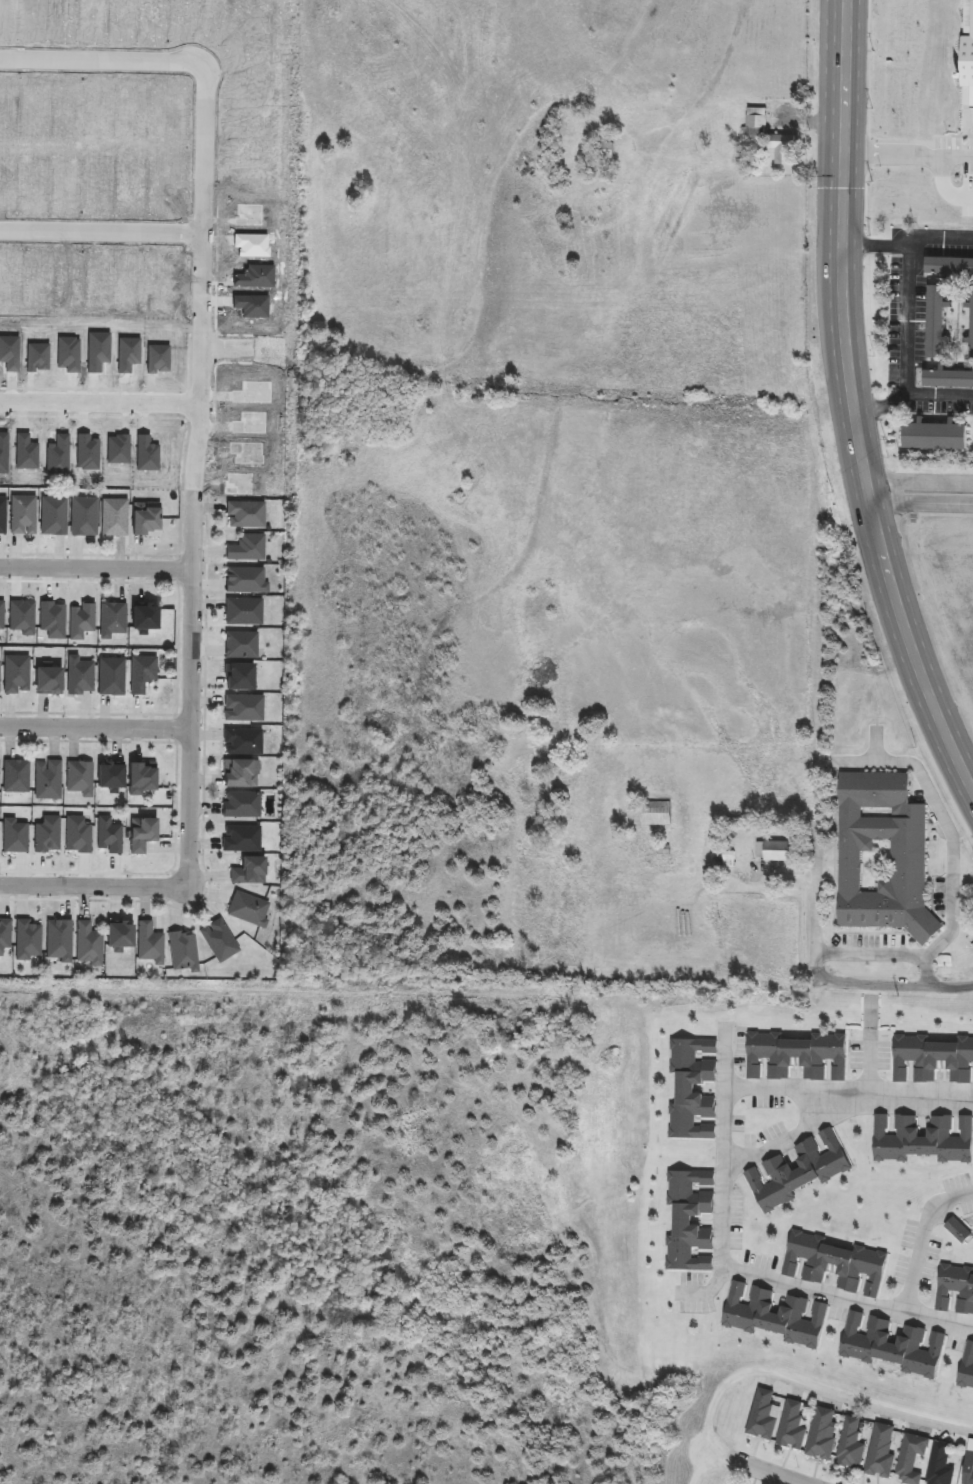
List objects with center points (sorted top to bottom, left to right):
building: (966, 53)
road: (100, 61)
road: (866, 110)
building: (756, 123)
building: (782, 148)
building: (948, 148)
road: (909, 150)
building: (607, 151)
building: (7, 178)
building: (35, 181)
building: (99, 182)
parking lot: (968, 182)
building: (163, 183)
road: (944, 184)
building: (68, 185)
road: (193, 185)
building: (132, 186)
building: (249, 214)
road: (95, 217)
road: (104, 233)
road: (192, 234)
road: (94, 245)
building: (251, 245)
road: (908, 245)
building: (949, 267)
road: (219, 268)
building: (71, 277)
building: (255, 277)
building: (10, 279)
building: (131, 280)
building: (38, 281)
building: (161, 282)
road: (205, 282)
building: (100, 284)
building: (251, 305)
road: (191, 319)
road: (909, 320)
building: (935, 322)
building: (971, 325)
road: (237, 335)
road: (225, 347)
road: (217, 348)
building: (96, 352)
building: (10, 354)
building: (127, 355)
building: (67, 356)
building: (37, 358)
building: (156, 358)
road: (236, 362)
building: (948, 378)
road: (94, 389)
building: (252, 393)
road: (912, 395)
road: (99, 401)
road: (855, 402)
road: (190, 405)
road: (94, 415)
building: (250, 423)
building: (934, 436)
building: (117, 451)
building: (25, 452)
building: (86, 452)
building: (245, 452)
building: (3, 453)
building: (57, 455)
building: (146, 455)
building: (238, 484)
road: (182, 485)
road: (922, 494)
building: (23, 514)
building: (246, 514)
building: (3, 515)
building: (54, 516)
building: (83, 516)
building: (115, 516)
building: (146, 522)
building: (247, 547)
road: (88, 554)
road: (97, 568)
road: (176, 569)
building: (245, 580)
building: (243, 610)
building: (1, 616)
building: (22, 618)
building: (114, 618)
building: (83, 619)
building: (52, 620)
building: (146, 621)
building: (241, 645)
road: (176, 647)
building: (16, 674)
building: (143, 674)
building: (80, 676)
building: (112, 677)
building: (240, 679)
building: (50, 683)
road: (192, 694)
building: (244, 708)
road: (95, 727)
road: (173, 728)
road: (204, 734)
building: (243, 741)
building: (108, 776)
building: (239, 776)
building: (17, 777)
building: (80, 778)
building: (139, 778)
building: (49, 781)
building: (242, 804)
road: (174, 805)
building: (657, 814)
building: (47, 835)
building: (140, 835)
building: (76, 836)
building: (111, 836)
building: (13, 837)
building: (242, 838)
building: (774, 852)
building: (730, 859)
building: (908, 865)
building: (249, 872)
road: (957, 875)
road: (95, 885)
building: (249, 908)
road: (818, 910)
building: (4, 934)
building: (58, 939)
building: (120, 939)
building: (27, 941)
building: (220, 941)
building: (149, 943)
building: (89, 944)
building: (182, 950)
road: (932, 969)
road: (890, 985)
road: (873, 1046)
building: (796, 1055)
building: (932, 1059)
building: (692, 1088)
road: (802, 1130)
building: (923, 1137)
building: (798, 1170)
road: (730, 1180)
building: (689, 1220)
road: (925, 1236)
building: (835, 1263)
building: (955, 1289)
building: (776, 1316)
building: (893, 1346)
building: (967, 1366)
road: (716, 1395)
road: (869, 1400)
building: (762, 1418)
building: (792, 1426)
building: (822, 1435)
building: (851, 1445)
building: (882, 1452)
building: (912, 1458)
building: (941, 1465)
road: (705, 1468)
road: (755, 1468)
building: (968, 1469)

